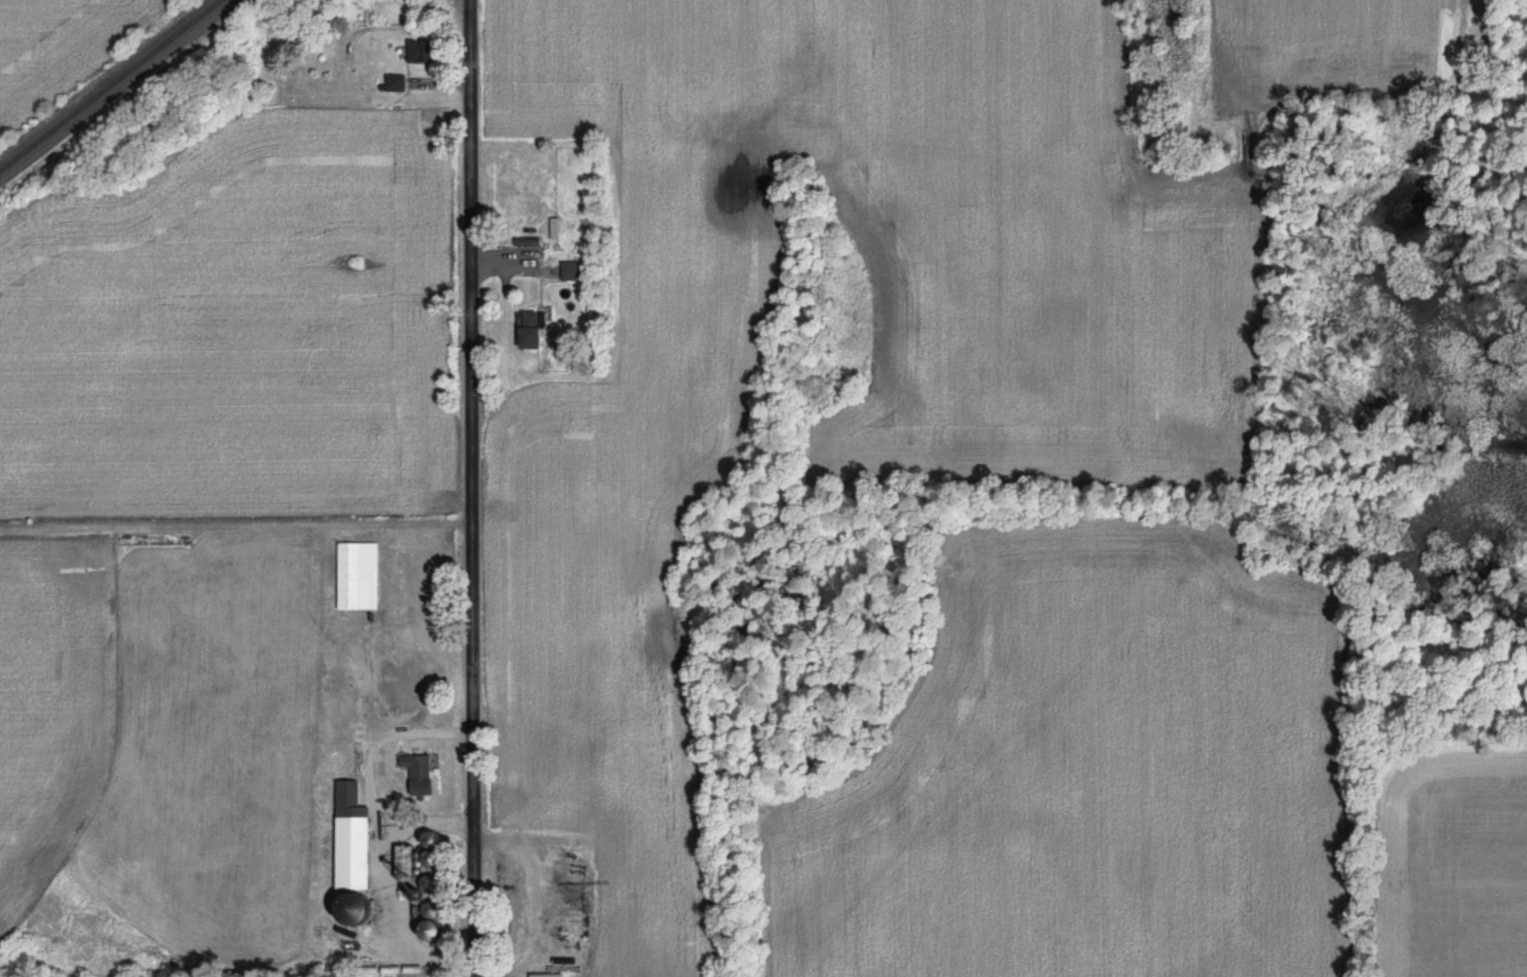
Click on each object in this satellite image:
building: (428, 7)
building: (414, 53)
building: (396, 85)
railway: (111, 87)
building: (576, 272)
building: (536, 331)
road: (470, 488)
building: (359, 577)
building: (399, 685)
building: (421, 775)
road: (369, 777)
building: (355, 854)
building: (409, 863)
road: (401, 914)

